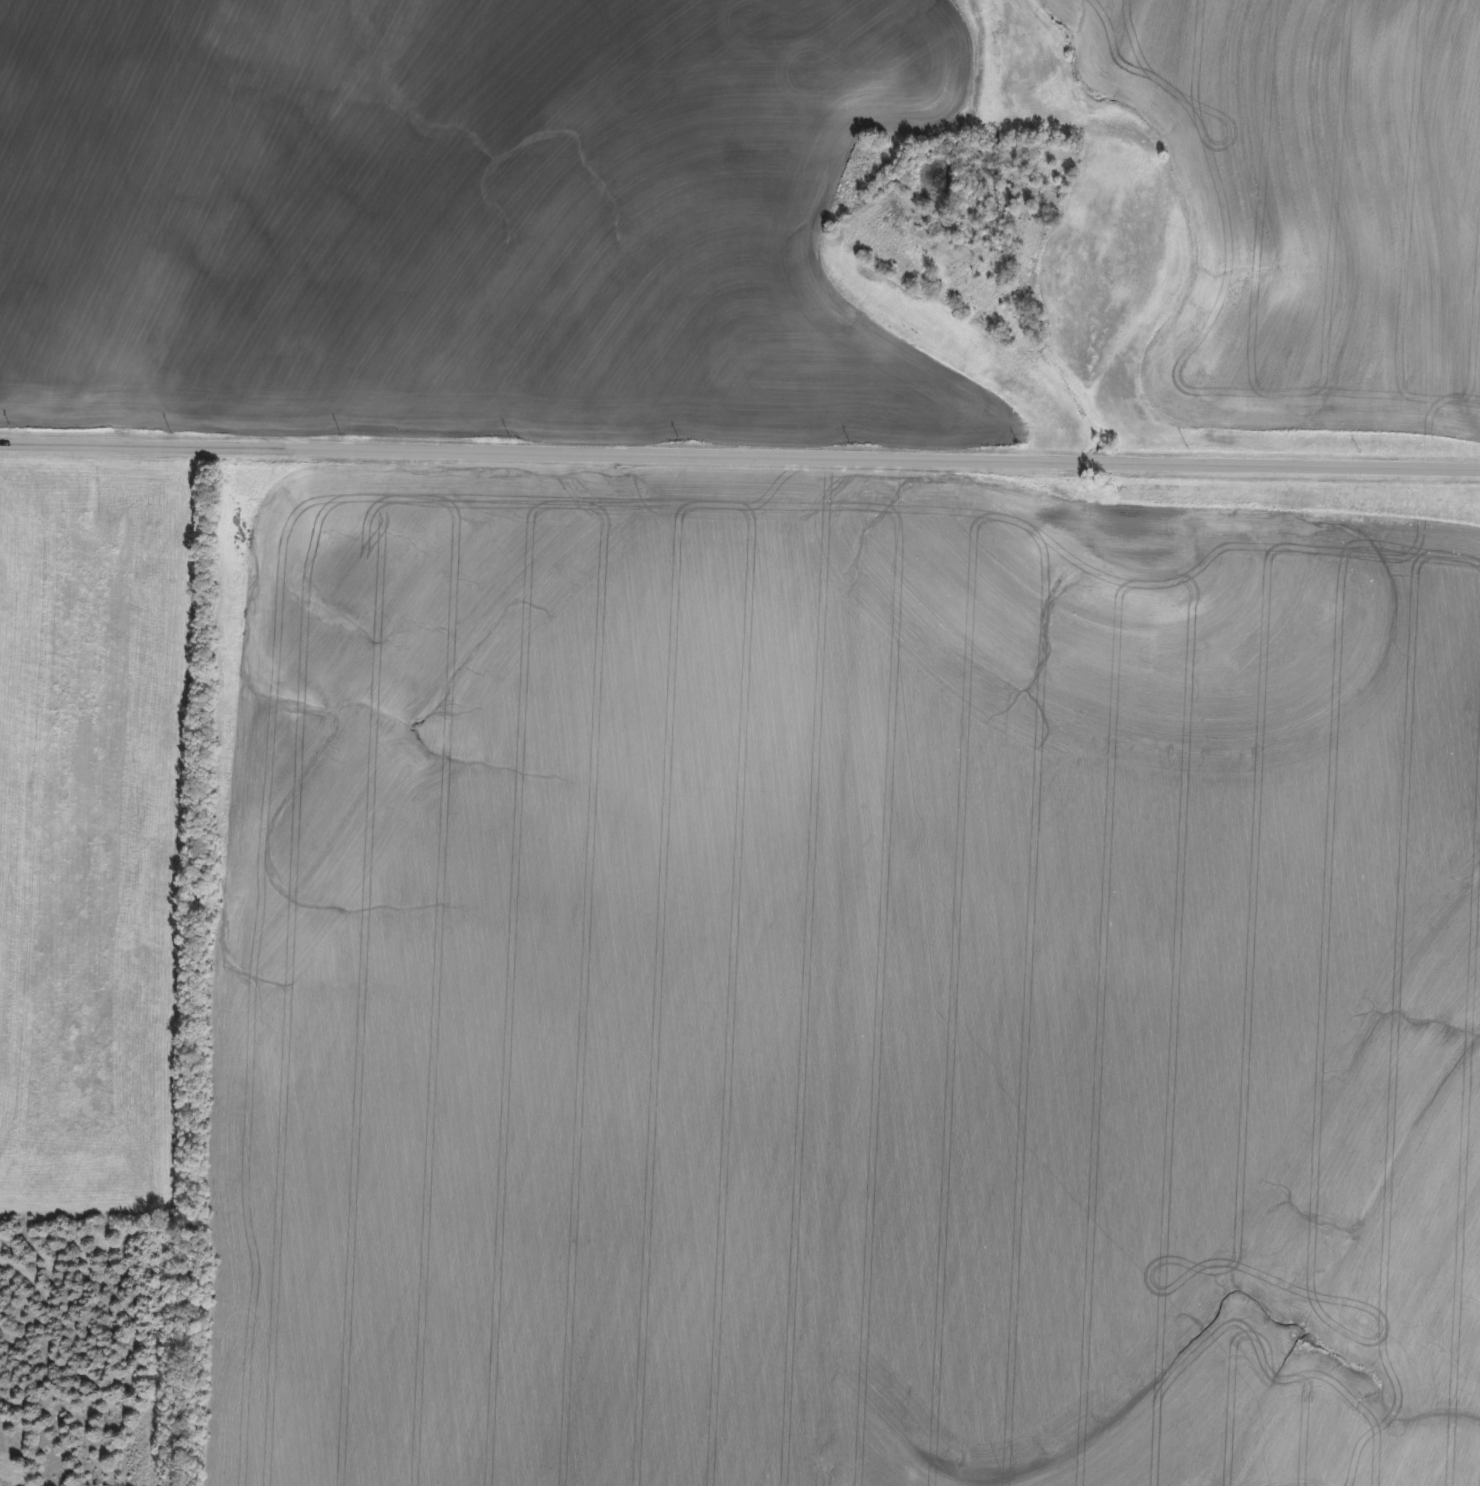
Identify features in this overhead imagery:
road: (739, 453)

